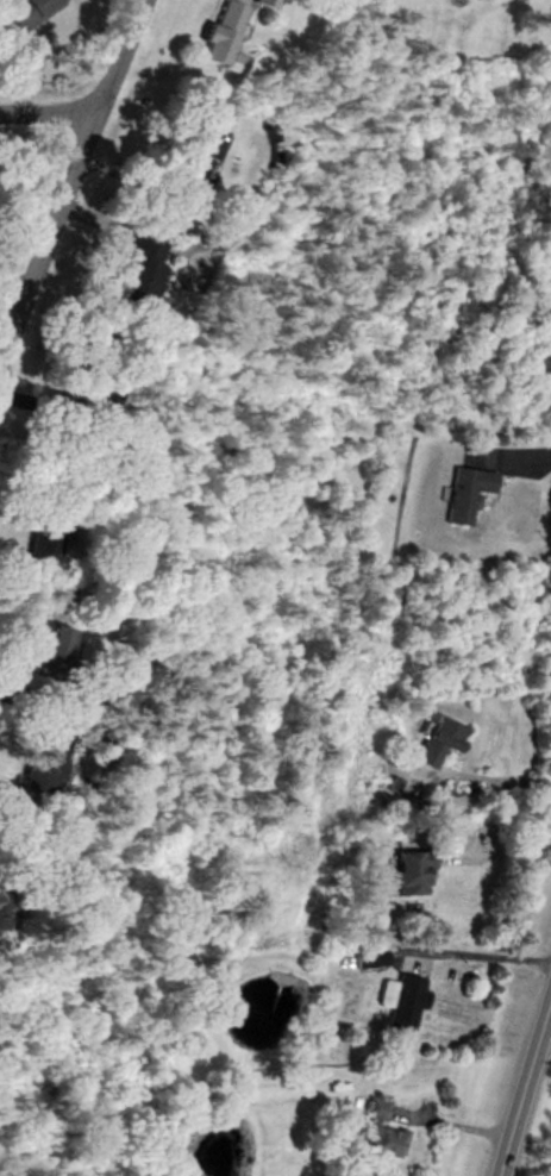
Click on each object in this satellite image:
building: (261, 4)
building: (24, 14)
building: (219, 37)
road: (45, 108)
building: (199, 149)
road: (65, 174)
building: (140, 270)
road: (526, 456)
building: (464, 496)
building: (40, 544)
building: (45, 655)
road: (21, 690)
building: (81, 696)
building: (433, 743)
building: (38, 774)
road: (482, 775)
road: (11, 790)
road: (494, 847)
building: (408, 875)
building: (1, 901)
road: (476, 953)
building: (367, 962)
building: (402, 1003)
road: (519, 1076)
building: (377, 1136)

